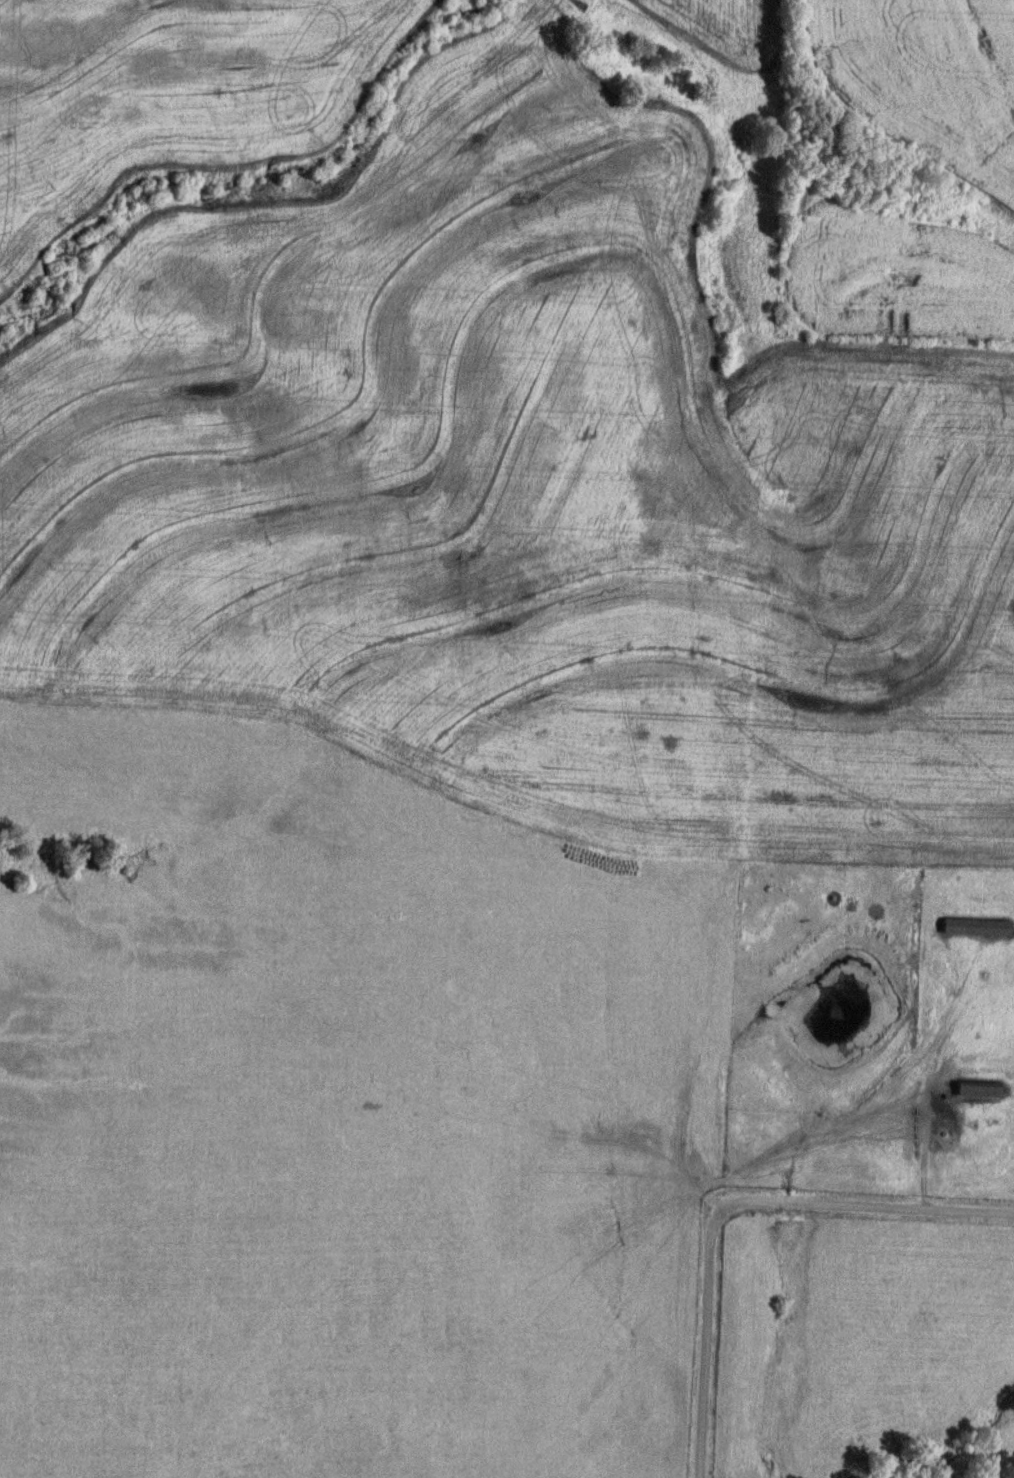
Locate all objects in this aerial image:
crop: (884, 609)
building: (974, 928)
building: (976, 1090)
road: (731, 1200)

